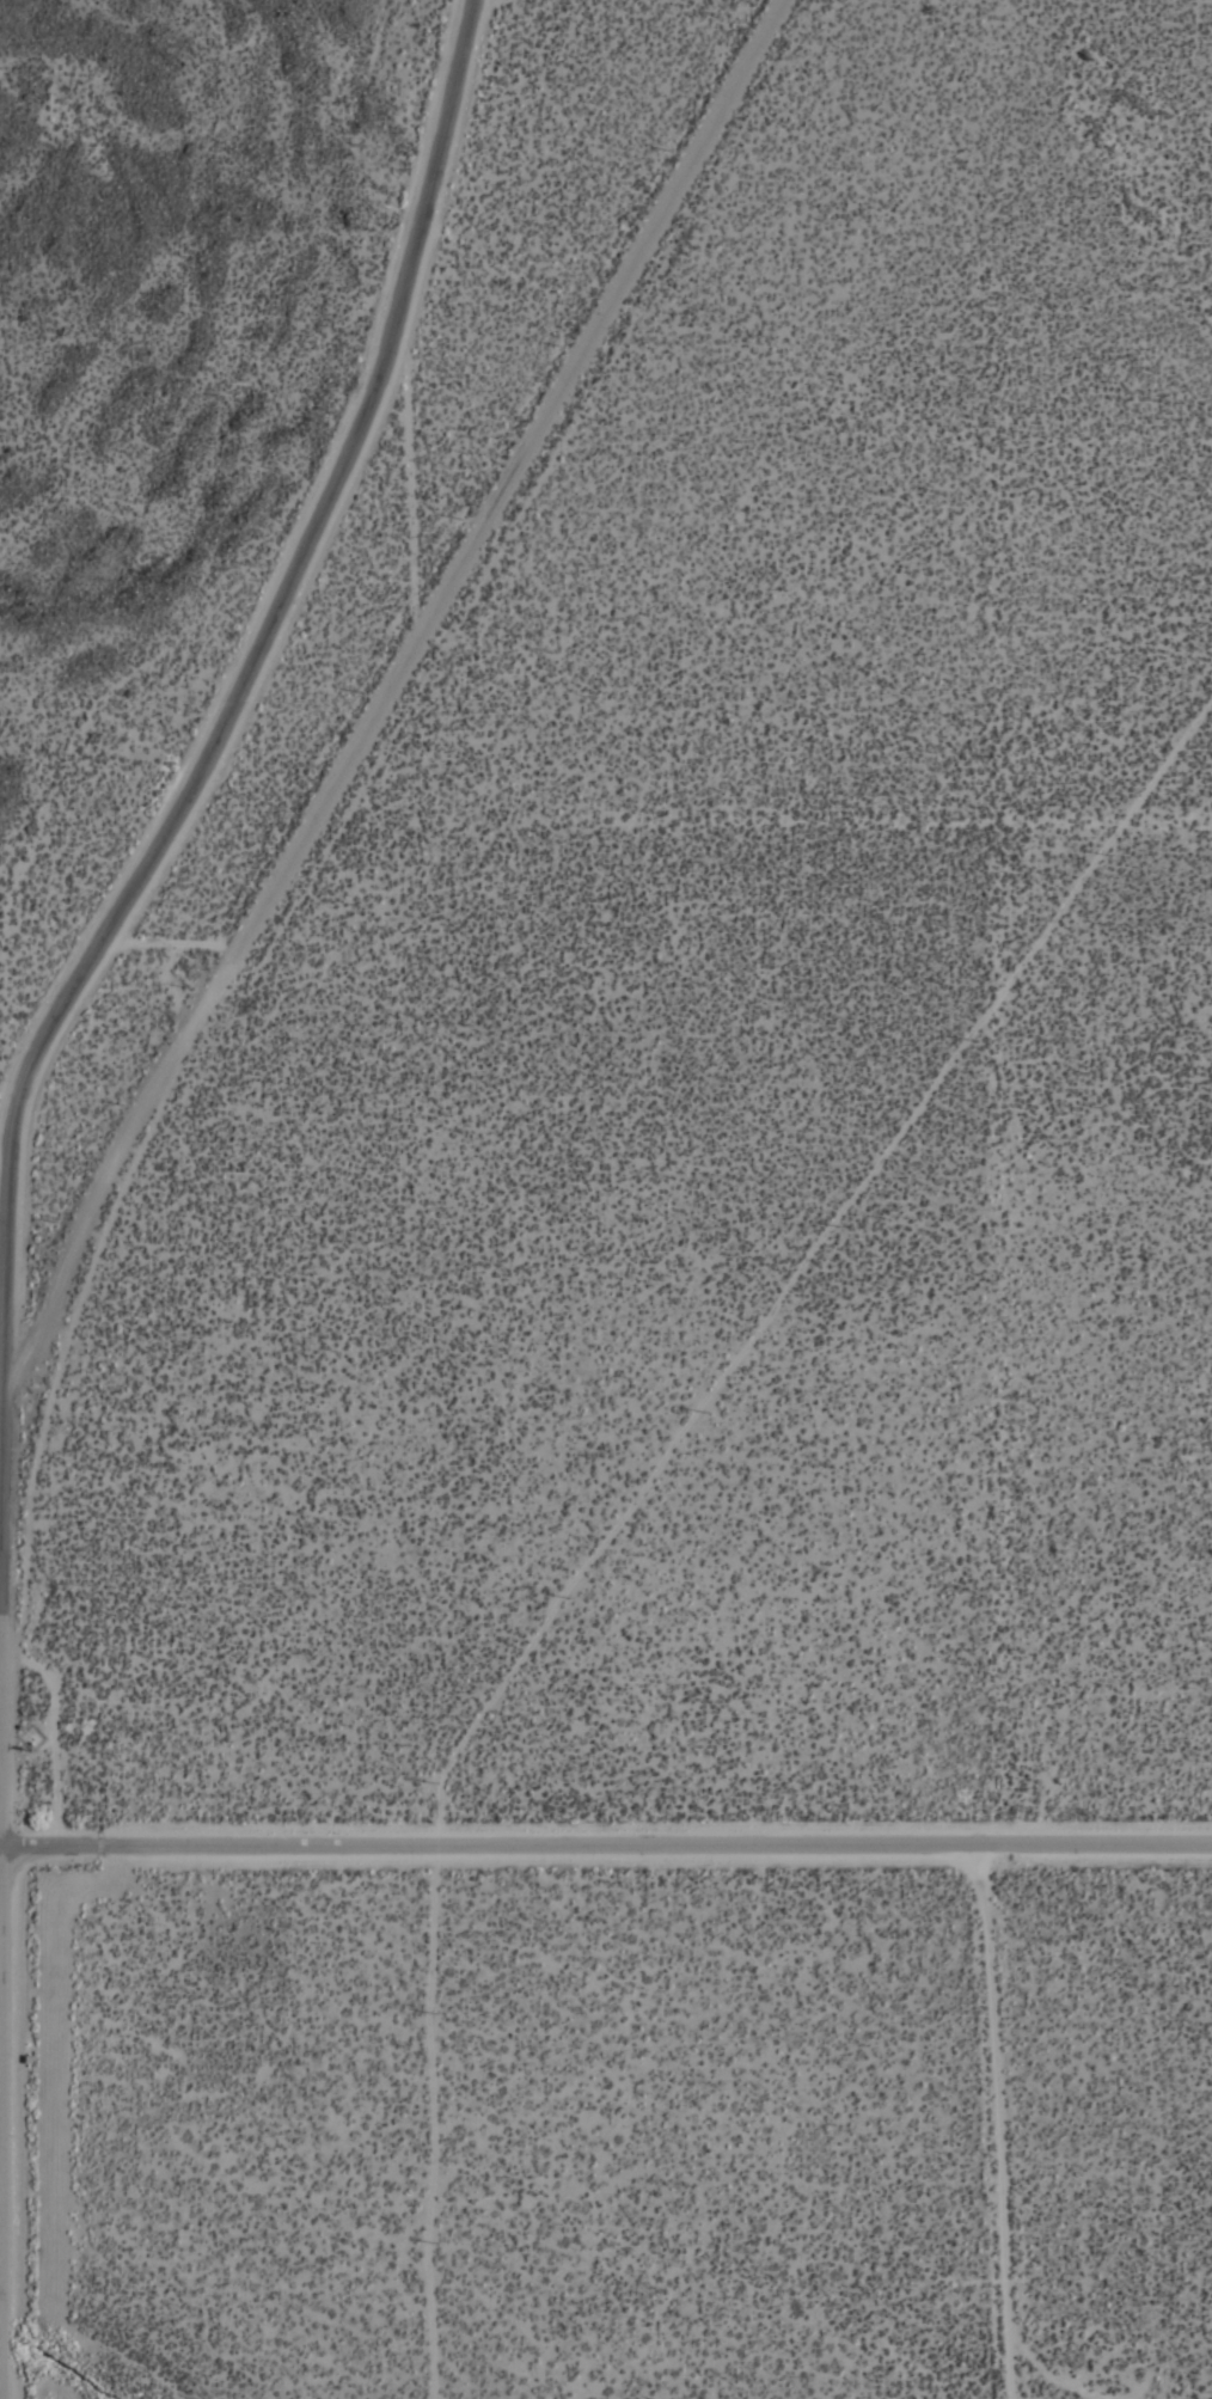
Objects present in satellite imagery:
road: (393, 692)
road: (245, 704)
road: (10, 1168)
road: (645, 1497)
road: (5, 1622)
road: (607, 1850)
road: (1, 1852)
road: (1, 1990)
road: (2, 2040)
road: (999, 2123)
road: (1, 2227)
road: (1, 2313)
road: (1, 2357)

